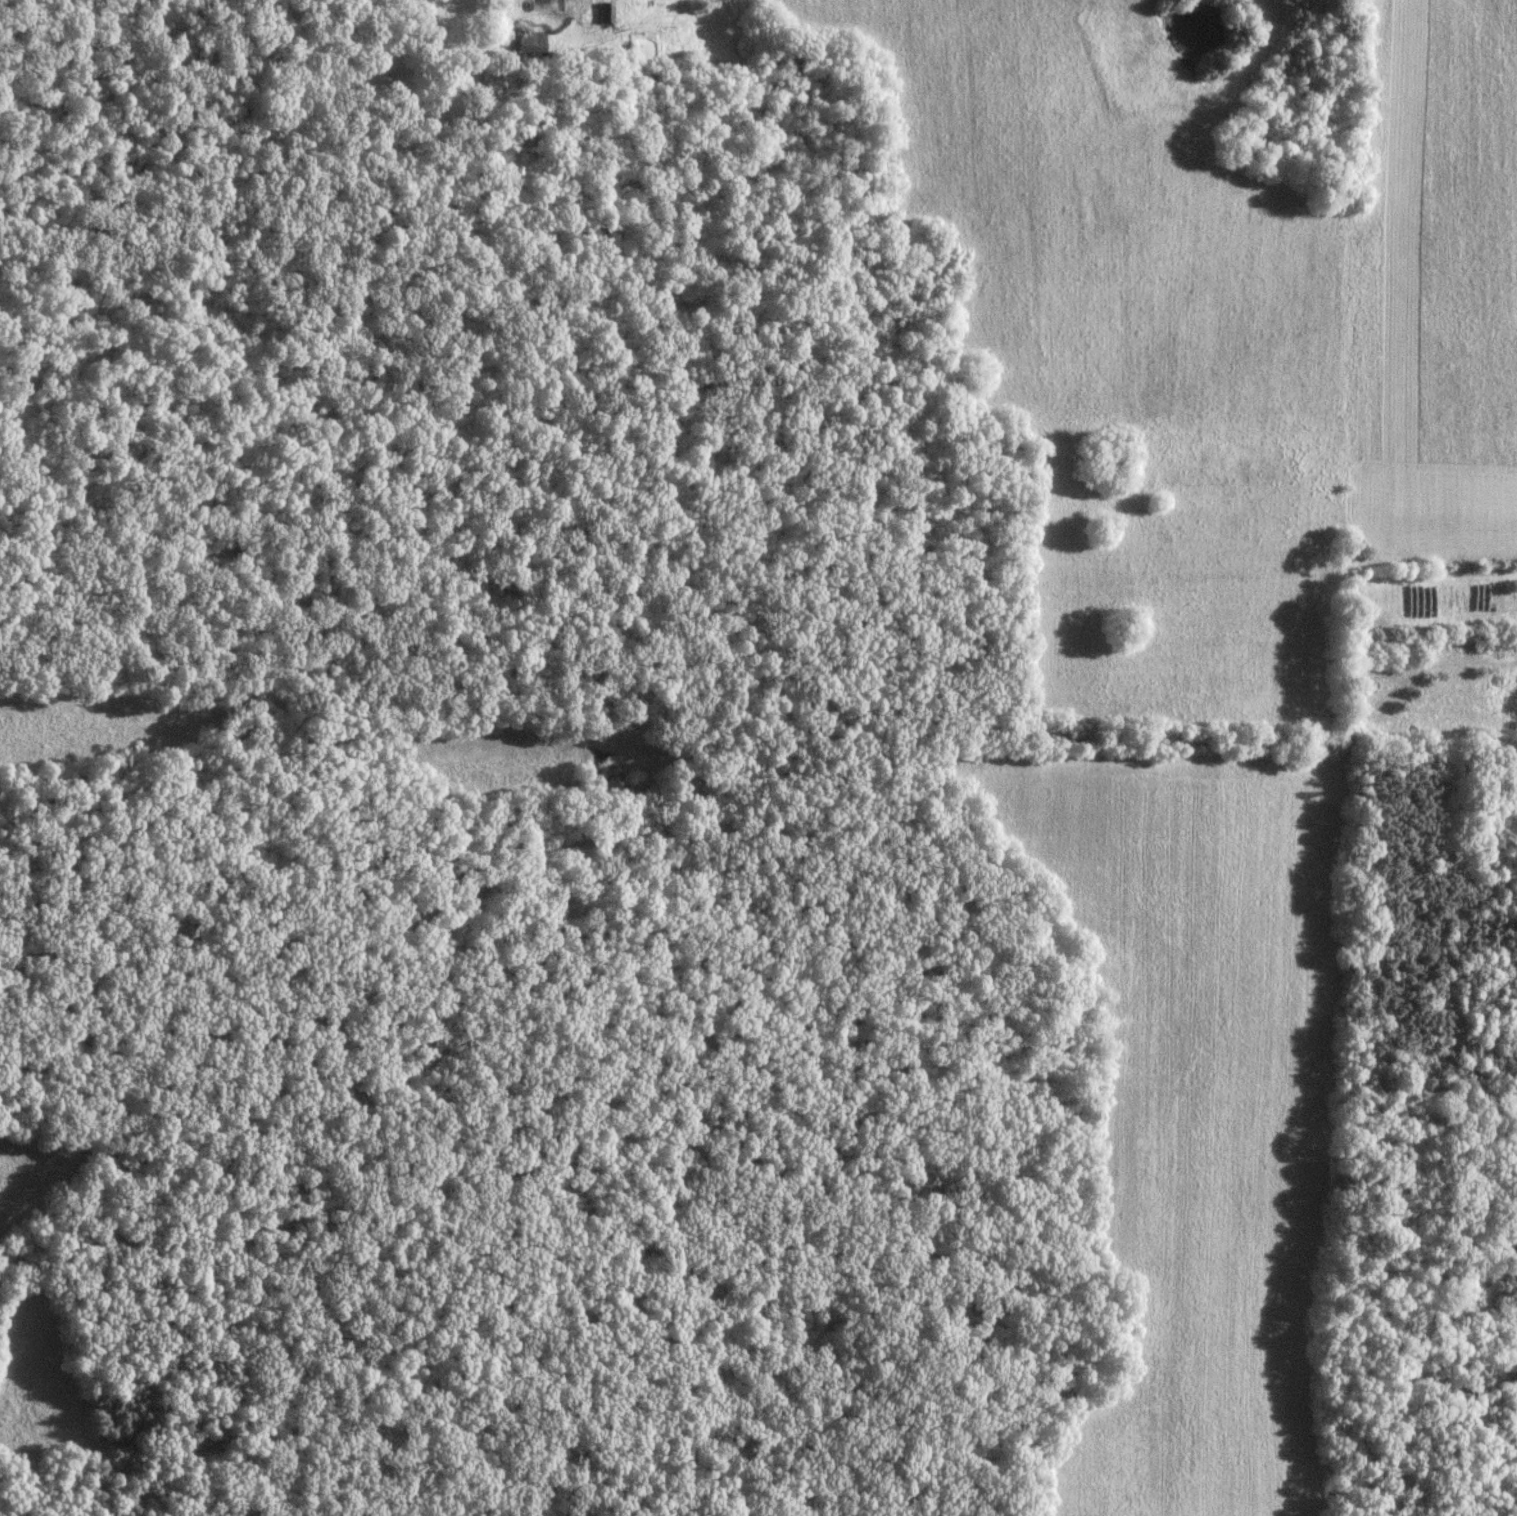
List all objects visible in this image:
building: (605, 13)
building: (529, 47)

